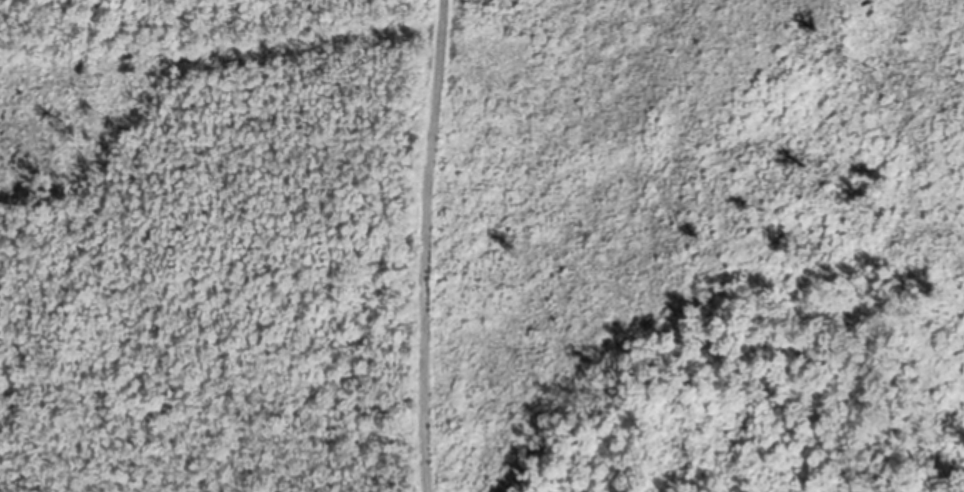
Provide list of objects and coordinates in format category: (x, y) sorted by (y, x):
road: (420, 245)

